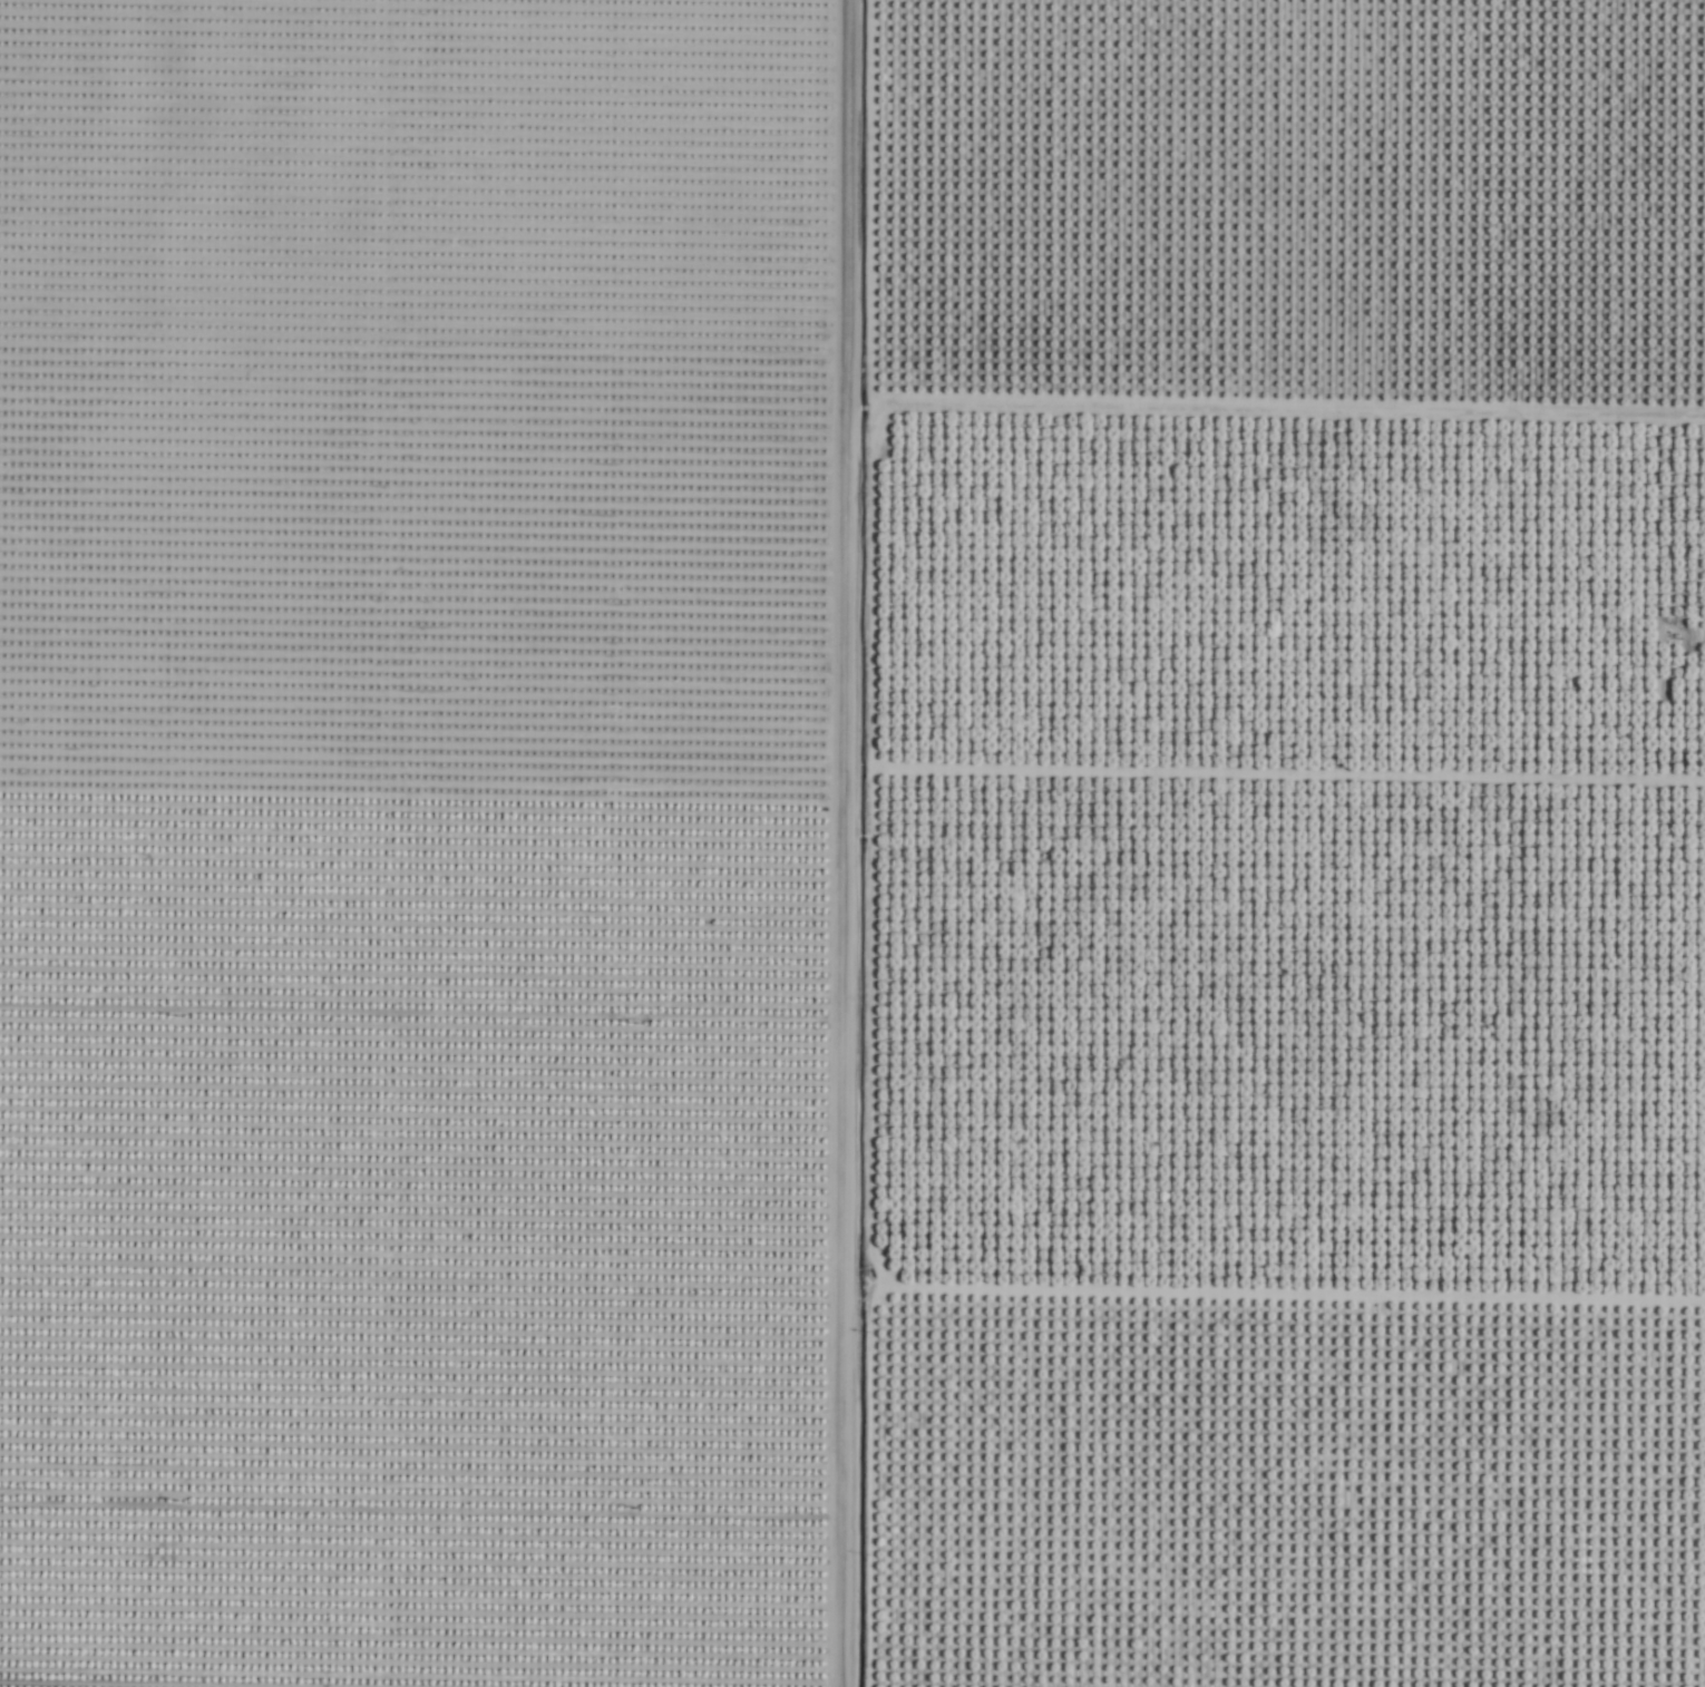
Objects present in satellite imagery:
road: (370, 321)
crop: (1287, 1493)

